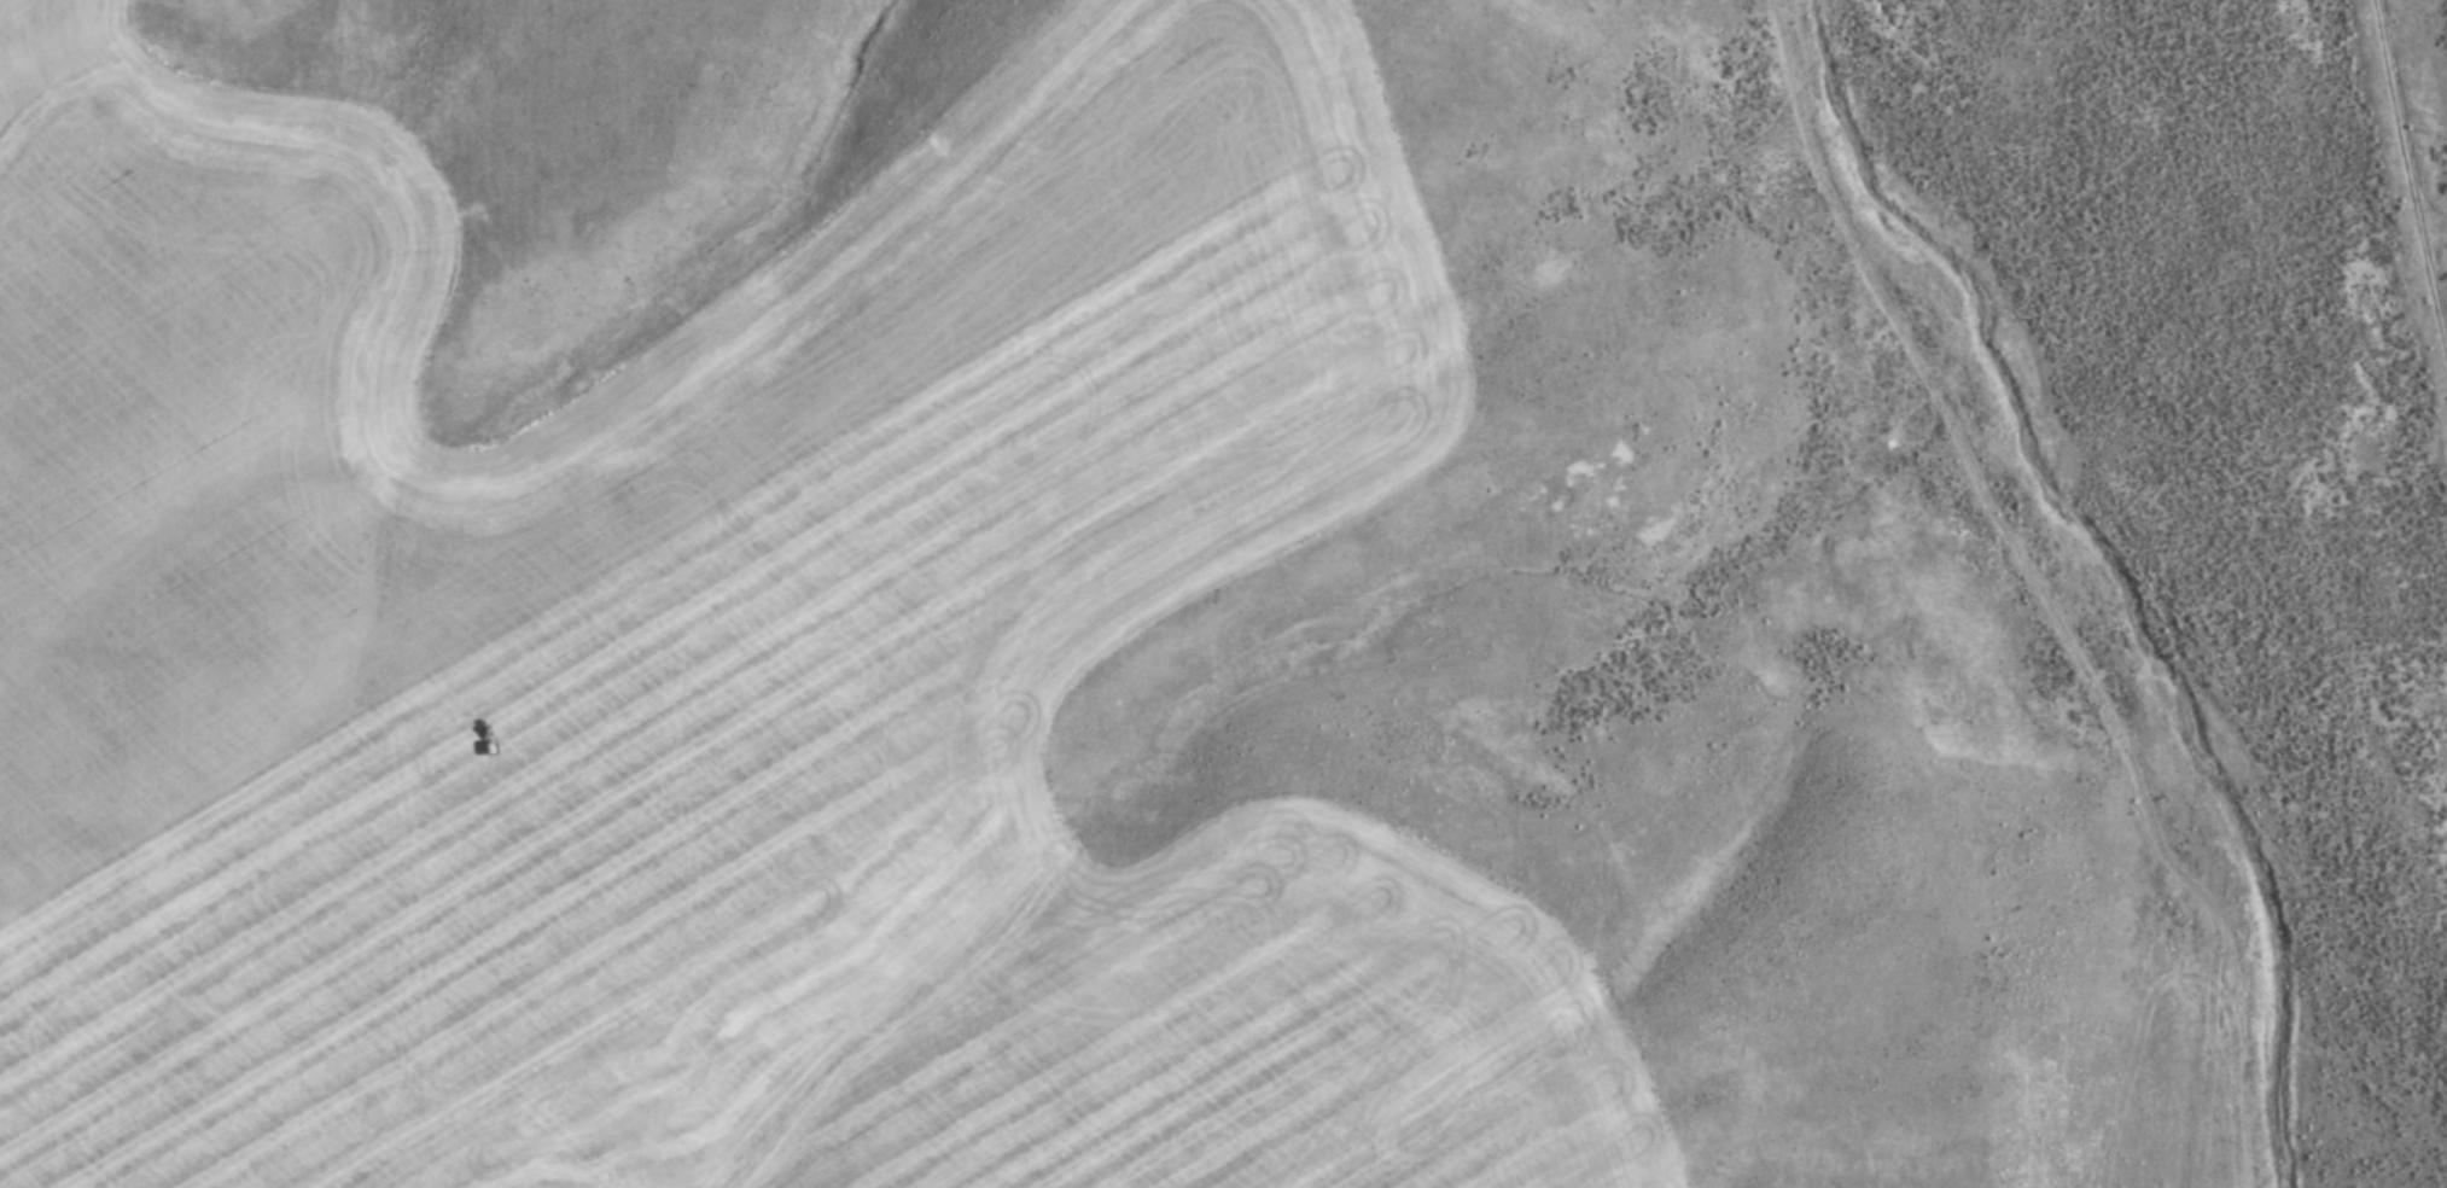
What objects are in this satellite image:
road: (2360, 309)

